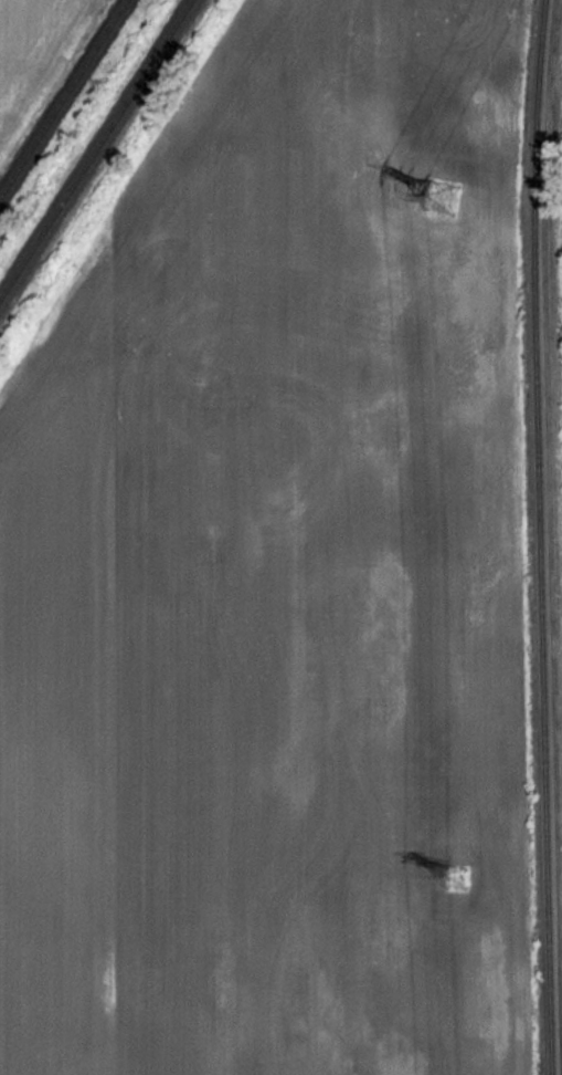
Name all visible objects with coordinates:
railway: (550, 29)
railway: (62, 96)
railway: (94, 147)
power tower: (445, 197)
railway: (538, 536)
railway: (548, 566)
crop: (280, 576)
power tower: (442, 870)

